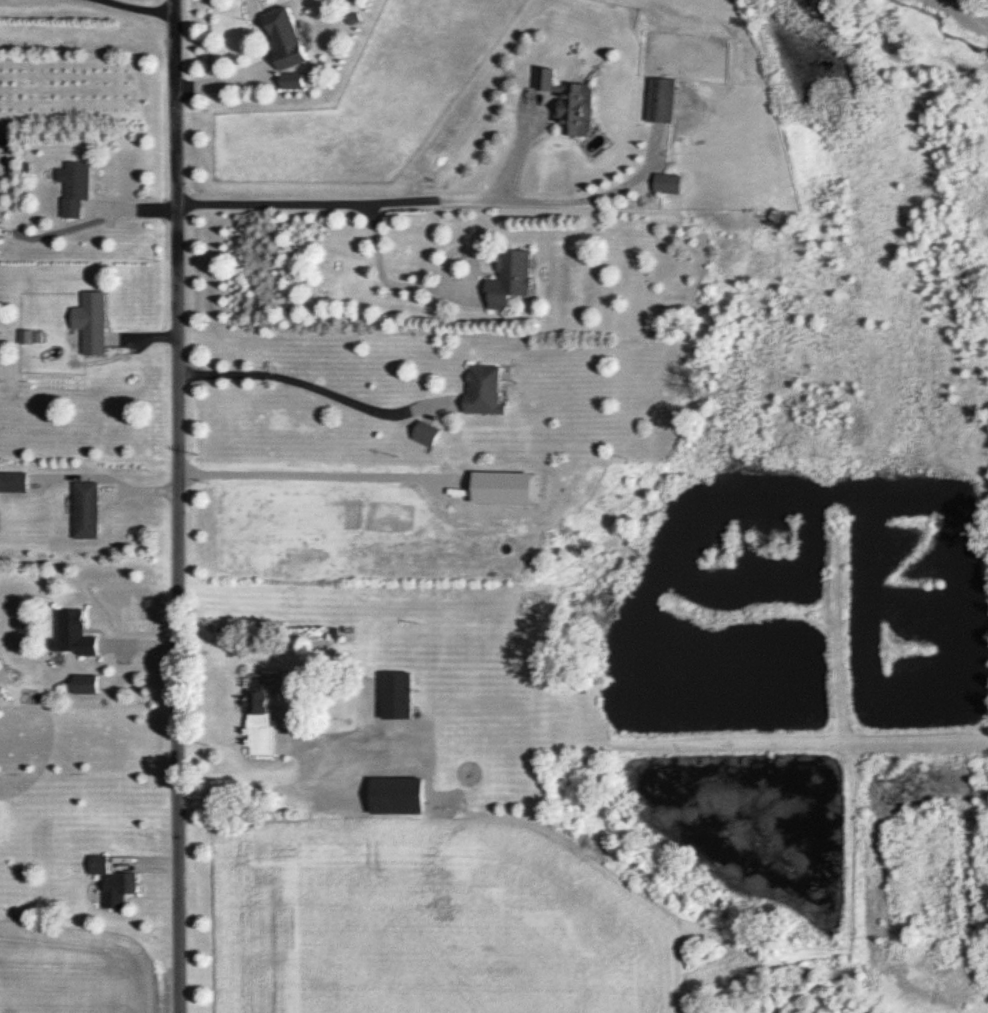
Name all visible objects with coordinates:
building: (279, 37)
building: (289, 80)
building: (658, 100)
building: (564, 102)
building: (665, 183)
building: (73, 187)
road: (429, 199)
road: (377, 272)
building: (506, 279)
building: (89, 322)
road: (307, 384)
building: (479, 389)
building: (423, 434)
road: (175, 506)
building: (83, 510)
building: (70, 634)
building: (82, 684)
building: (394, 695)
building: (257, 717)
building: (394, 796)
building: (110, 881)

